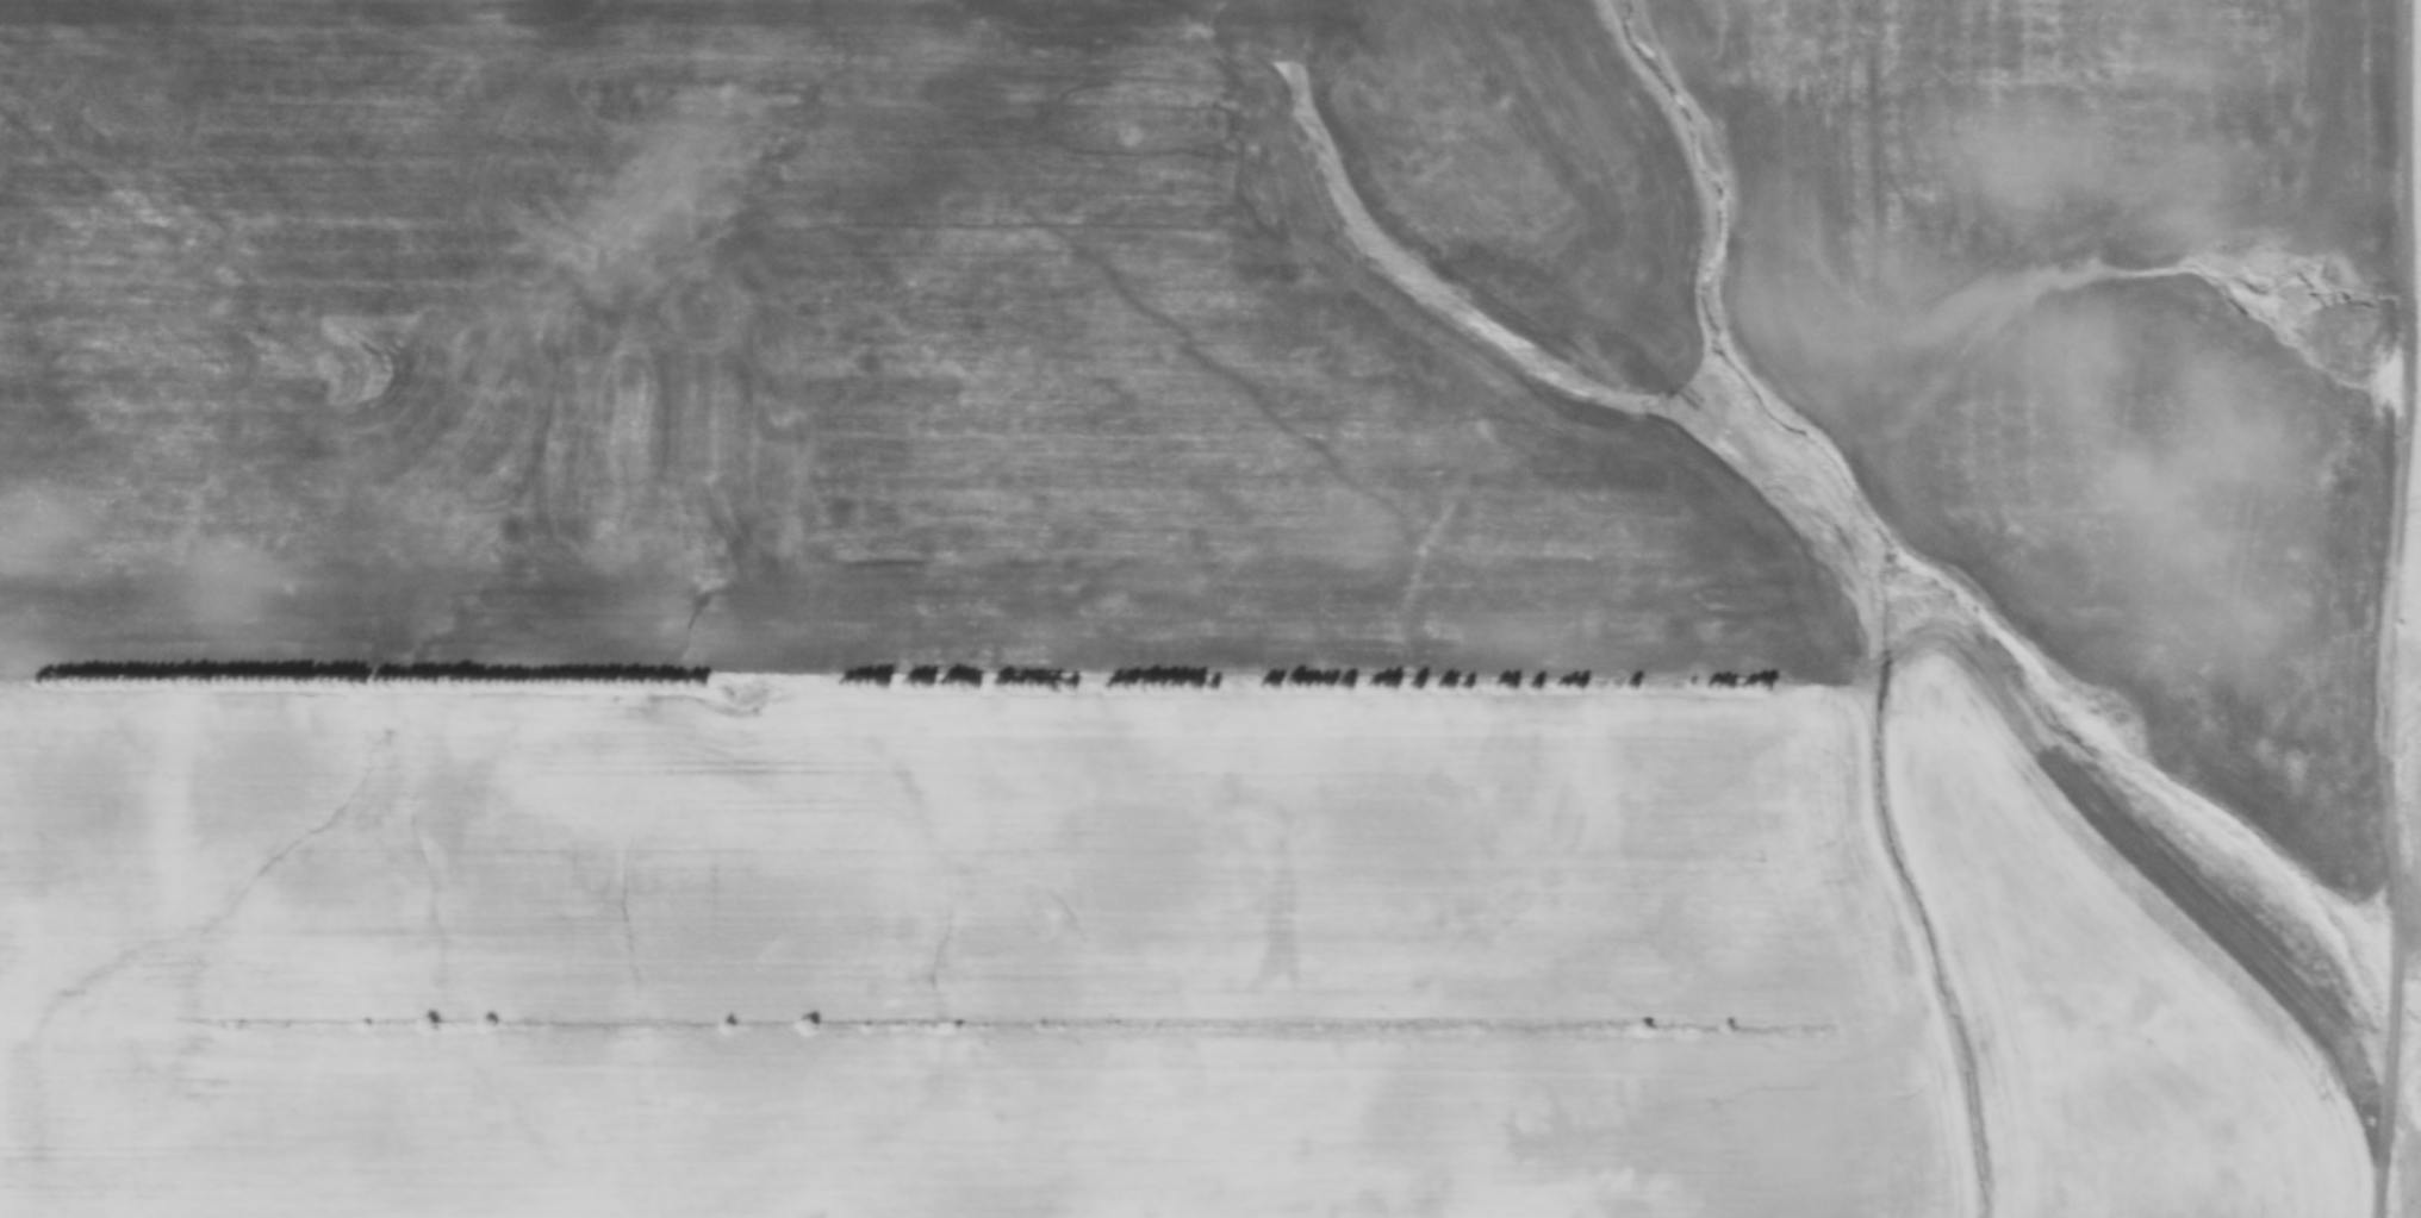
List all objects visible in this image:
road: (2394, 608)

